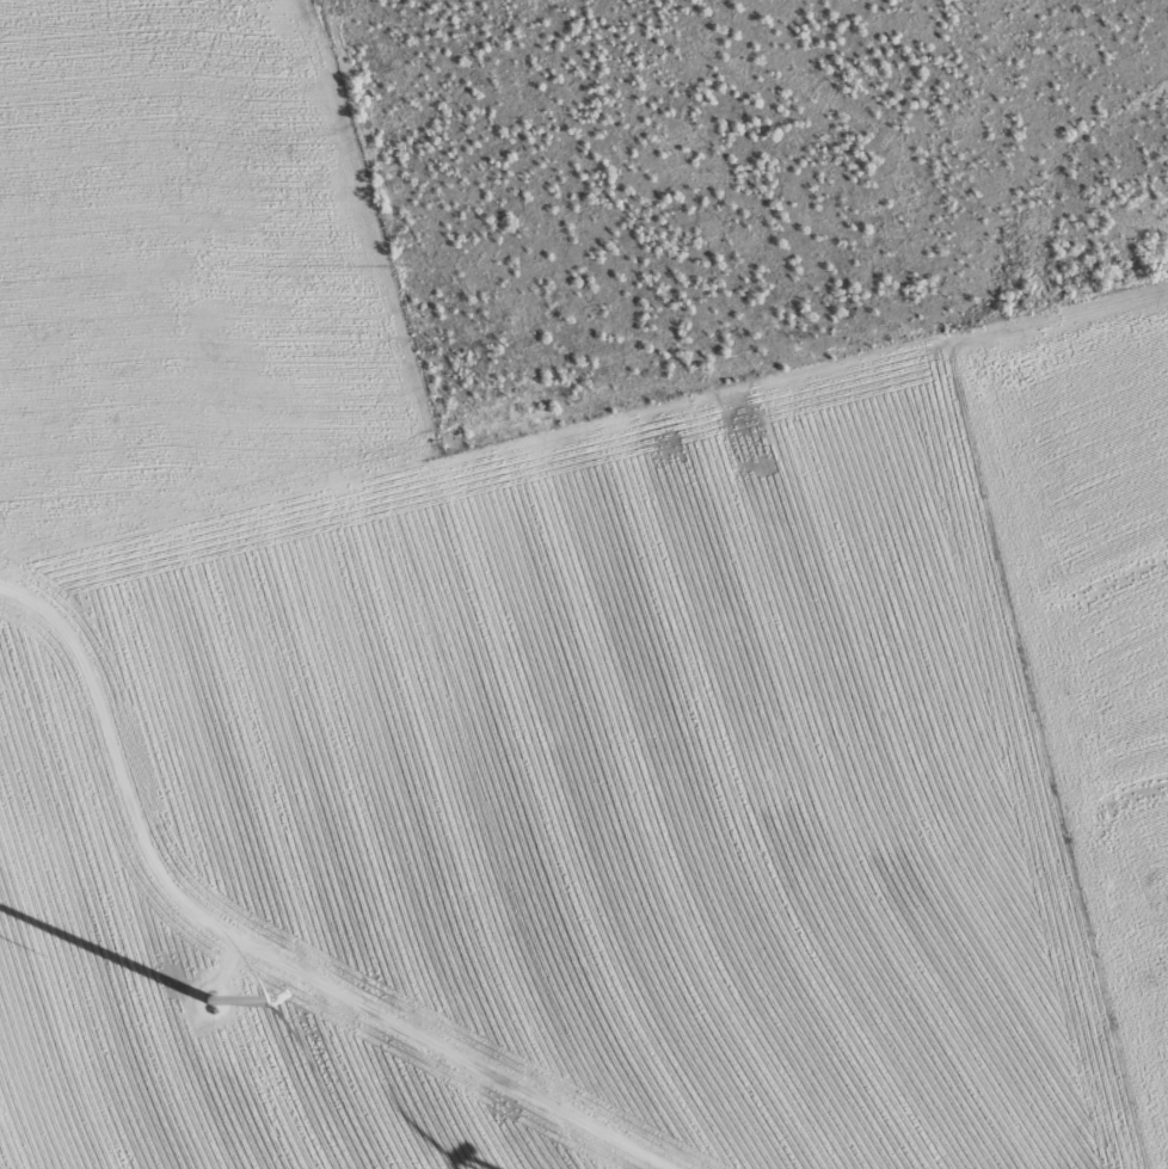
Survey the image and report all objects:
wind turbine: (201, 976)

